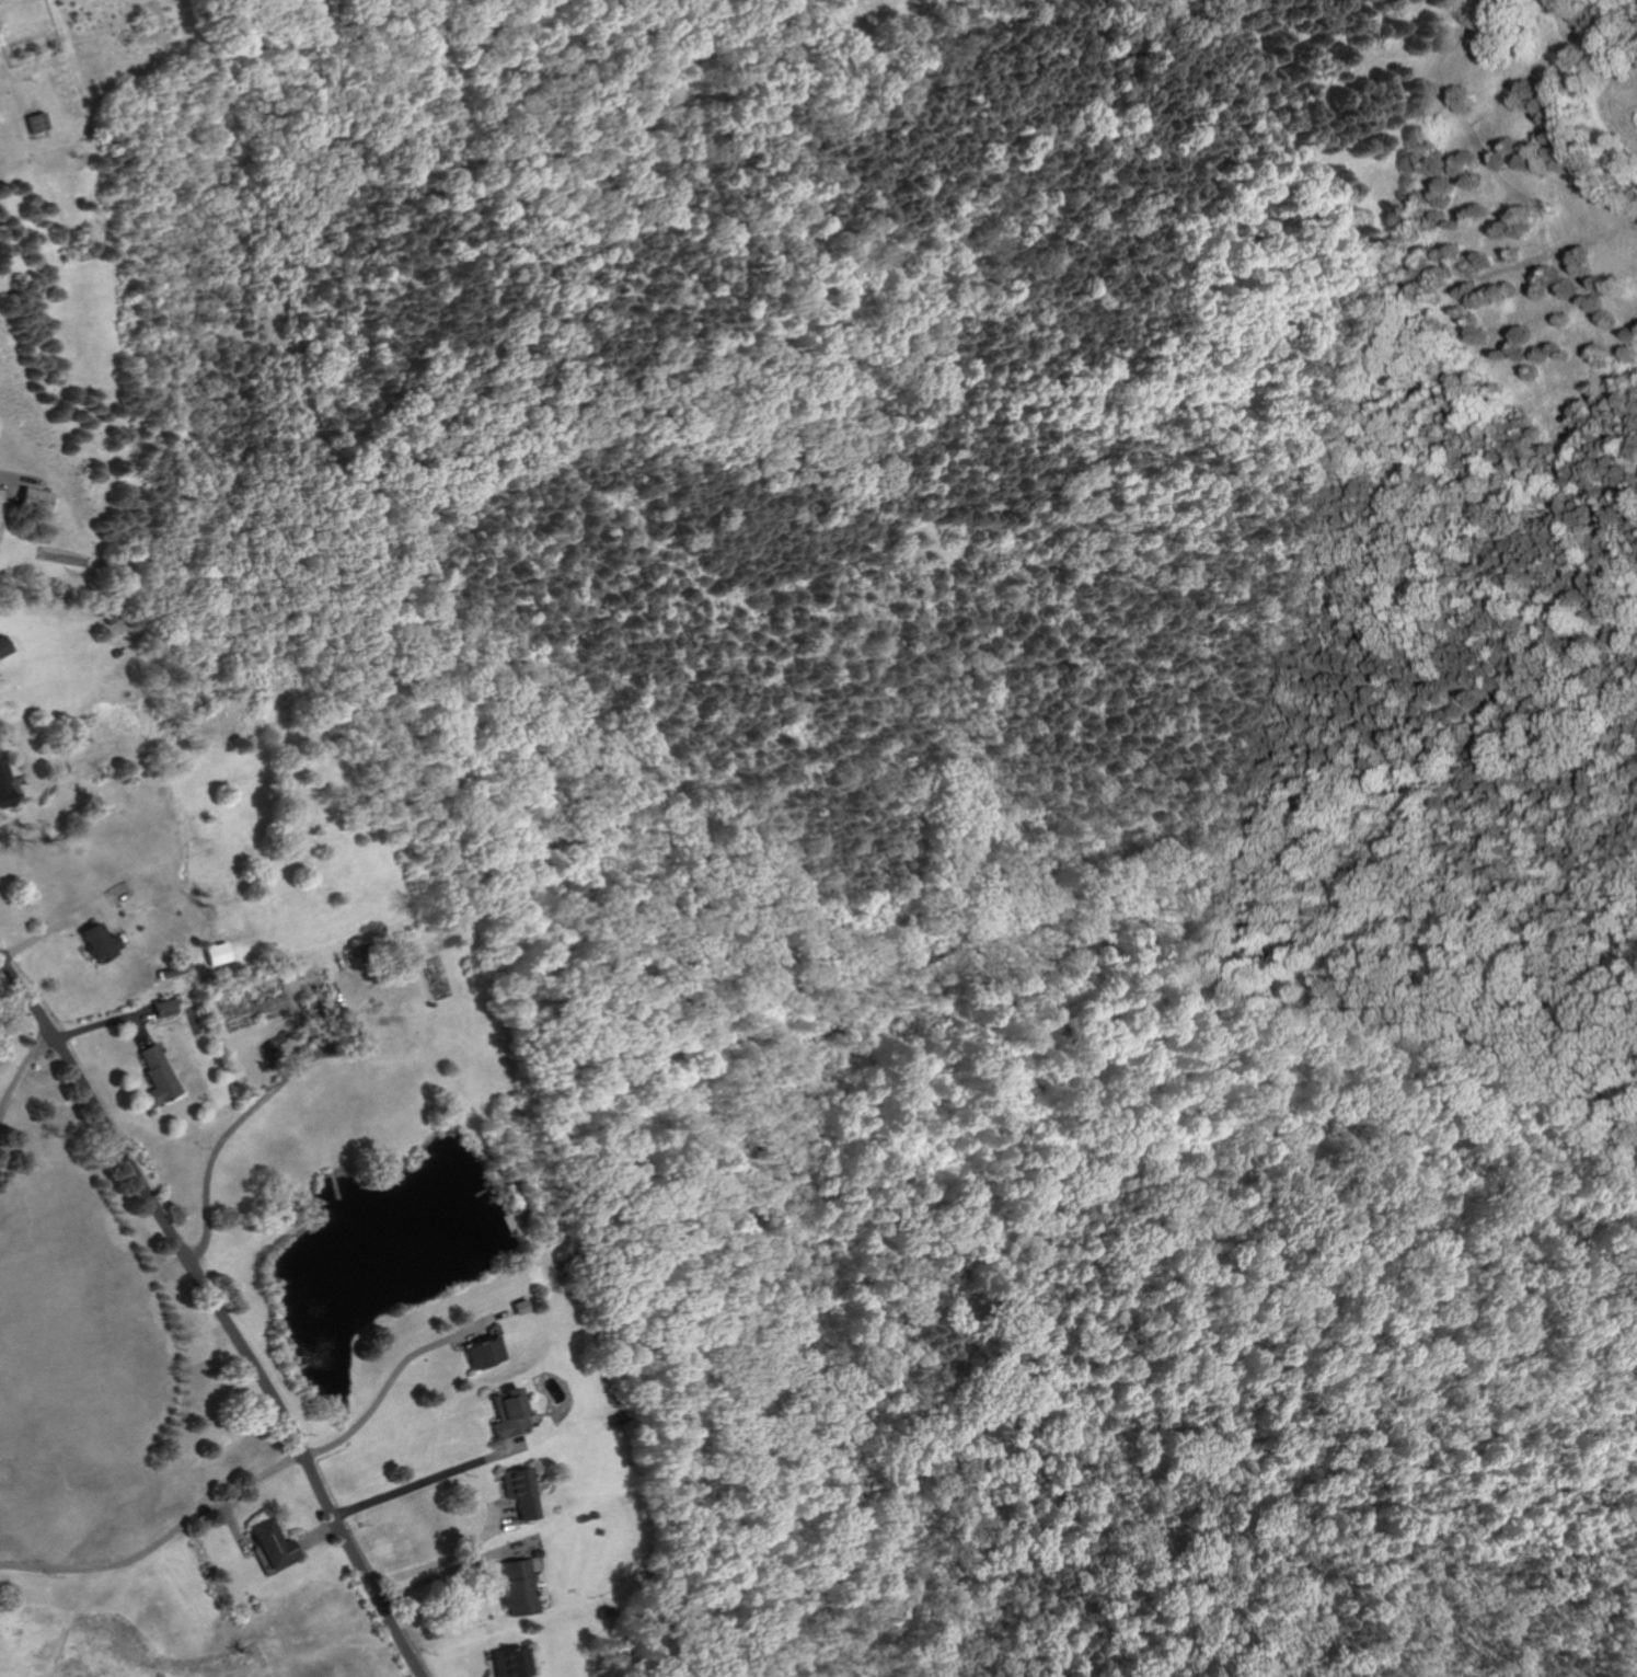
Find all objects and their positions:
building: (32, 123)
road: (10, 499)
building: (34, 499)
building: (2, 646)
building: (3, 794)
road: (101, 903)
road: (57, 923)
building: (94, 943)
building: (216, 953)
building: (172, 969)
building: (160, 1008)
road: (15, 1012)
road: (101, 1023)
road: (135, 1032)
road: (22, 1067)
building: (154, 1075)
road: (262, 1098)
road: (218, 1314)
building: (477, 1353)
road: (383, 1379)
building: (503, 1414)
road: (426, 1478)
building: (517, 1492)
road: (233, 1525)
road: (315, 1535)
road: (158, 1541)
road: (489, 1543)
building: (273, 1544)
road: (450, 1558)
road: (453, 1569)
building: (515, 1589)
building: (506, 1663)

